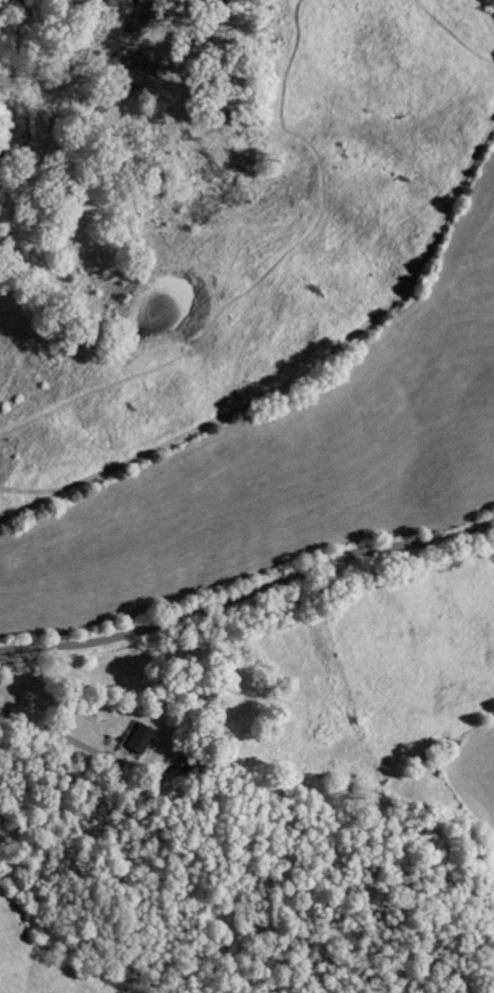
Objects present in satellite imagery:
road: (249, 595)
road: (64, 734)
building: (133, 736)

